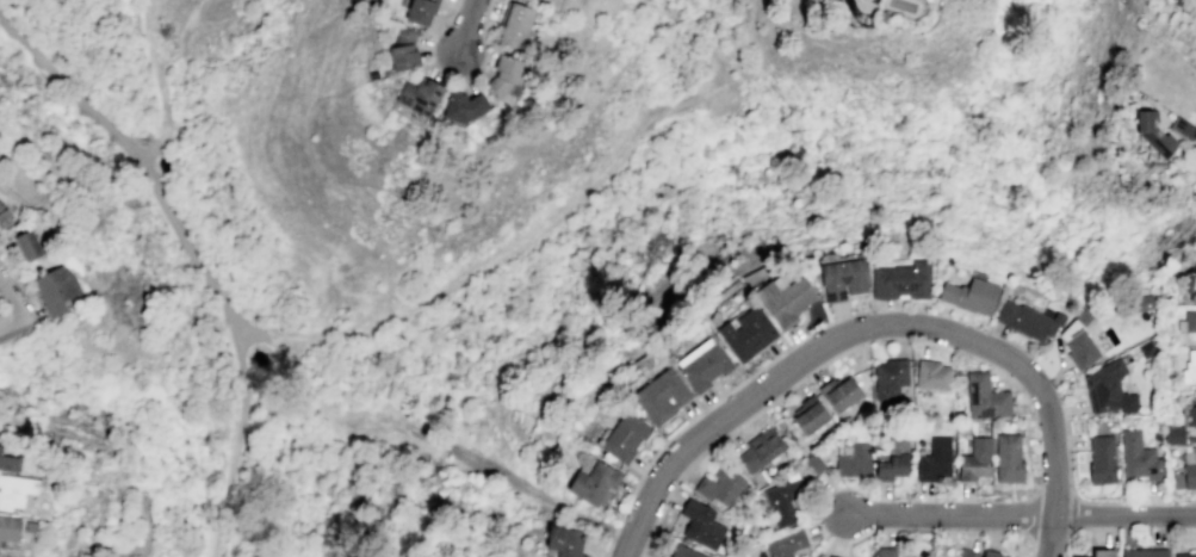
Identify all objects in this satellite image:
building: (419, 11)
road: (470, 26)
building: (514, 26)
road: (176, 32)
building: (402, 50)
road: (638, 55)
road: (894, 61)
road: (761, 69)
building: (503, 73)
road: (453, 78)
road: (160, 86)
building: (417, 95)
building: (461, 106)
building: (1184, 126)
building: (1151, 130)
building: (487, 138)
road: (165, 205)
building: (4, 213)
building: (29, 245)
road: (501, 260)
building: (842, 278)
building: (1190, 279)
building: (900, 280)
building: (52, 289)
building: (969, 293)
road: (8, 295)
building: (783, 299)
building: (1141, 301)
building: (1027, 320)
building: (1190, 320)
road: (19, 324)
building: (745, 332)
road: (854, 332)
building: (1078, 339)
building: (1146, 348)
building: (704, 366)
building: (1189, 366)
building: (932, 373)
building: (891, 377)
road: (732, 388)
building: (1108, 388)
building: (839, 391)
building: (659, 396)
building: (986, 397)
road: (757, 410)
building: (808, 413)
road: (326, 414)
building: (1191, 415)
building: (1175, 433)
building: (625, 437)
building: (0, 445)
building: (761, 448)
building: (1138, 456)
building: (893, 457)
building: (1009, 457)
building: (935, 458)
building: (977, 458)
building: (1102, 458)
building: (855, 459)
building: (814, 462)
building: (7, 463)
road: (1068, 472)
building: (1189, 475)
building: (1175, 479)
building: (594, 481)
road: (520, 482)
building: (720, 484)
building: (14, 490)
road: (224, 493)
building: (783, 500)
road: (948, 514)
road: (1124, 514)
road: (1067, 515)
building: (702, 525)
building: (30, 526)
building: (10, 527)
road: (1079, 528)
road: (967, 530)
road: (614, 532)
road: (1048, 536)
building: (565, 539)
building: (786, 544)
road: (608, 547)
building: (686, 551)
building: (887, 551)
building: (968, 552)
building: (1098, 552)
building: (1144, 552)
building: (993, 555)
building: (1184, 555)
building: (659, 556)
building: (832, 556)

